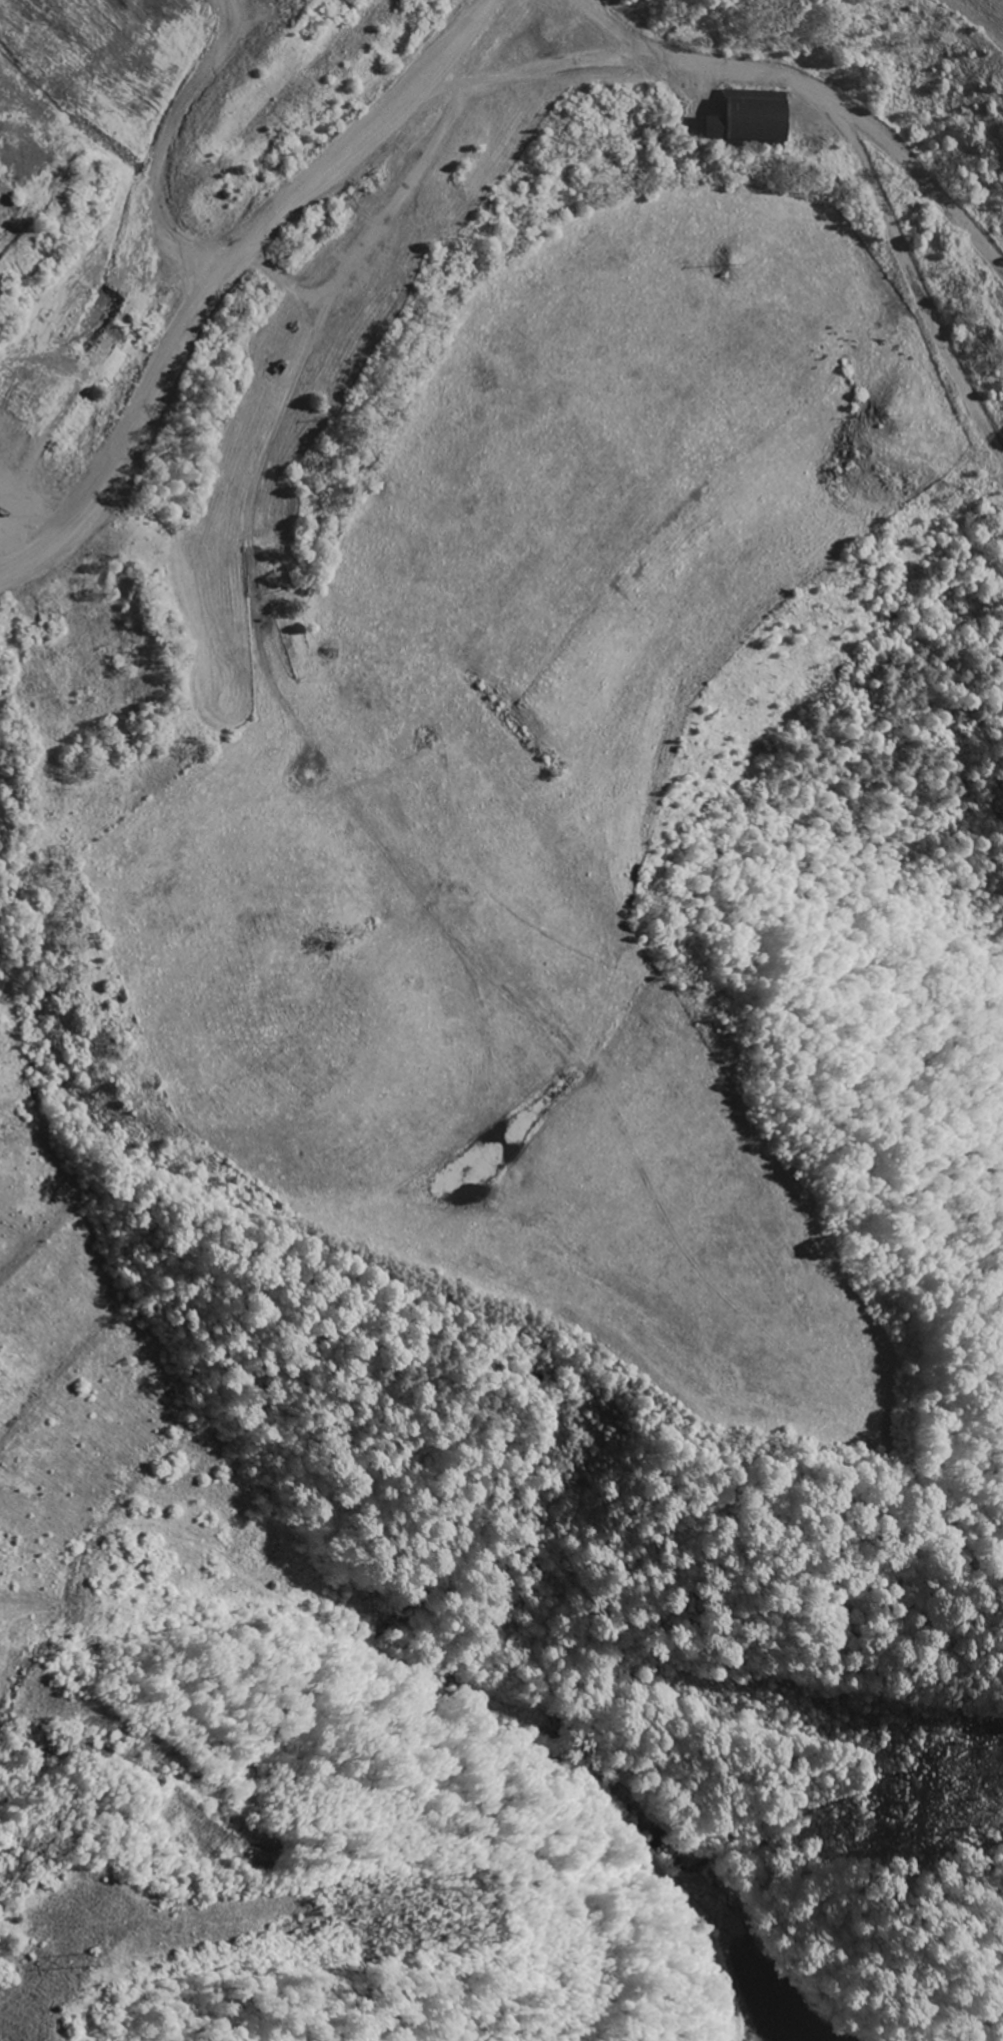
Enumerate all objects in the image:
building: (741, 121)

